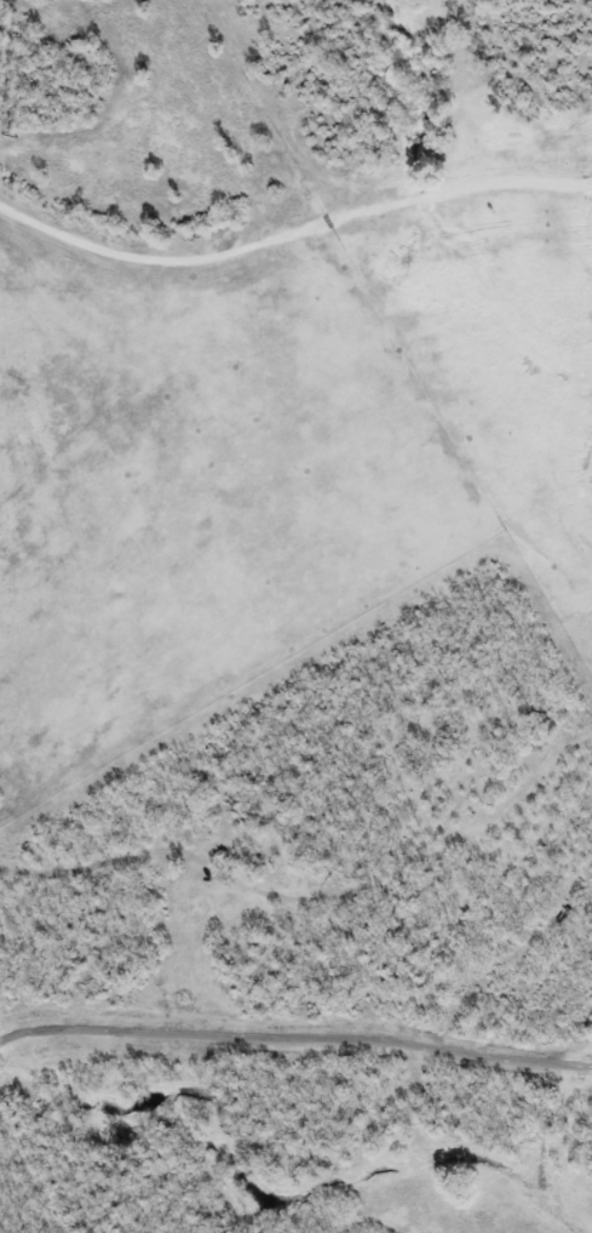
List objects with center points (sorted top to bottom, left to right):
road: (297, 224)

